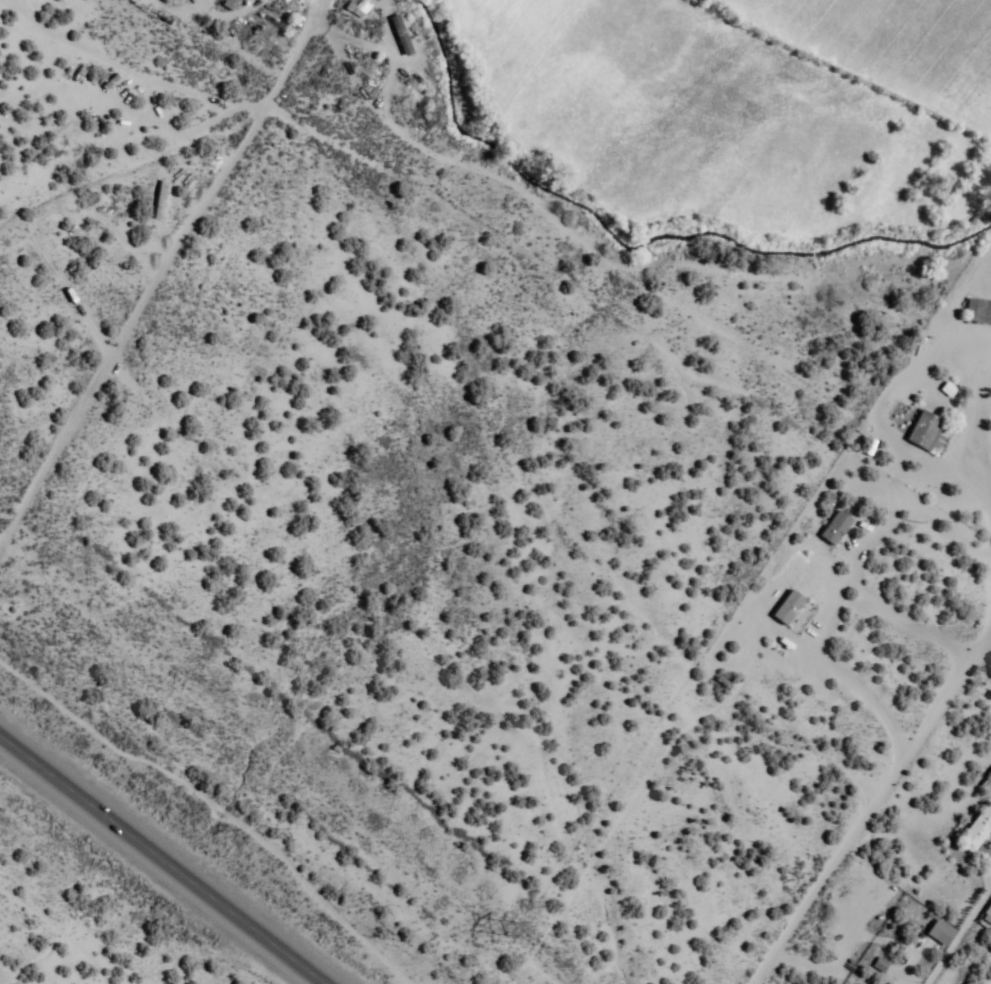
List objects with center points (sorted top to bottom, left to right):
building: (403, 37)
building: (162, 201)
road: (158, 271)
building: (979, 313)
building: (927, 432)
building: (838, 529)
building: (791, 609)
road: (905, 734)
road: (767, 752)
building: (987, 786)
building: (980, 832)
road: (161, 859)
building: (989, 915)
power tower: (514, 934)
building: (942, 934)
road: (61, 936)
road: (961, 941)

